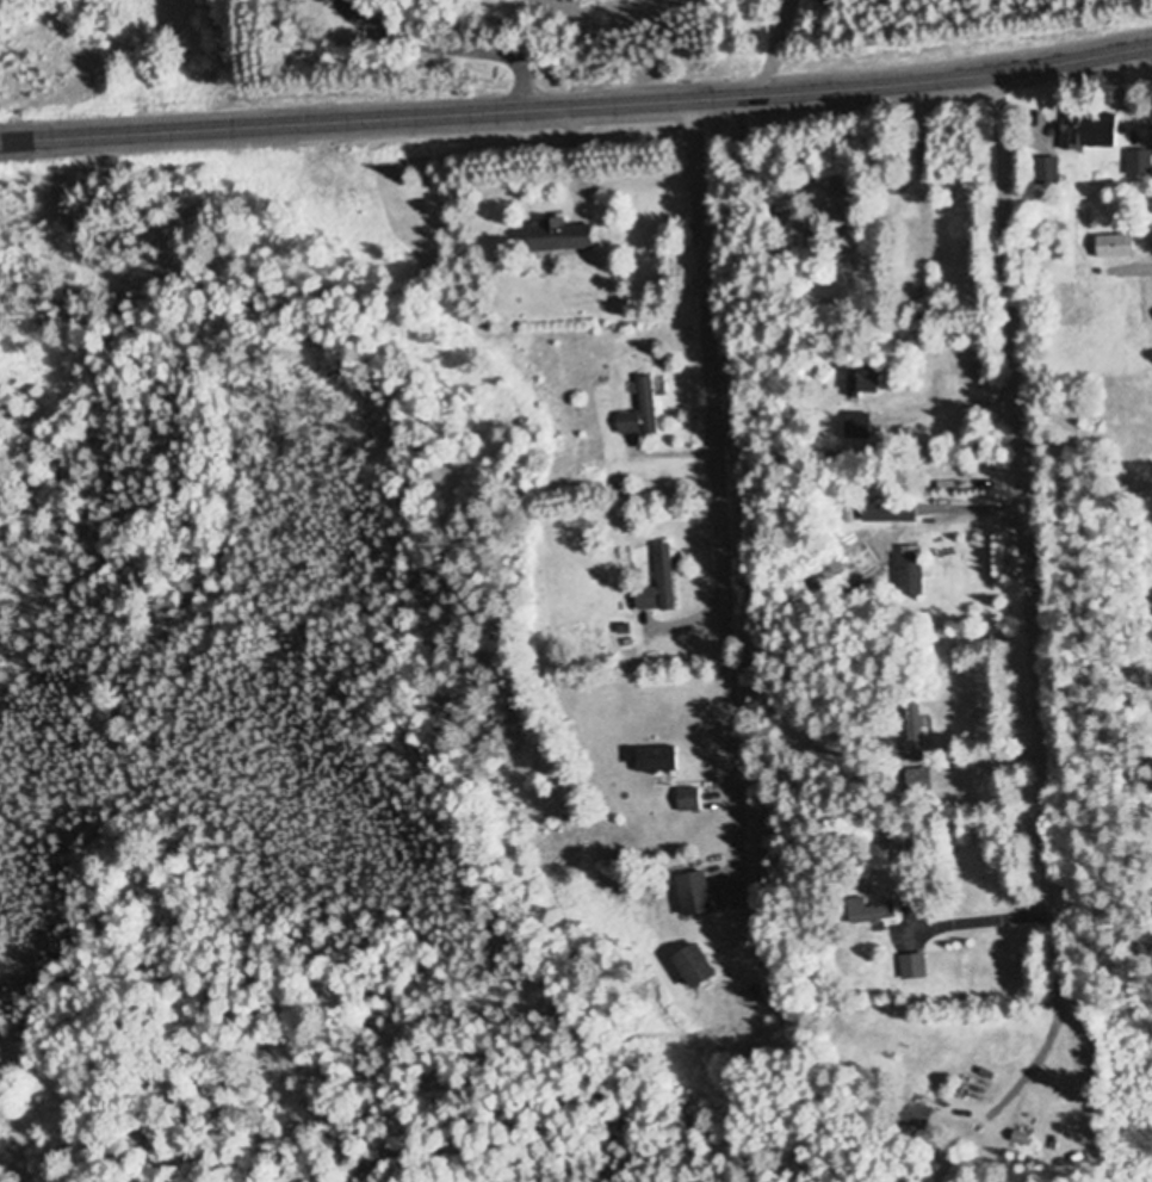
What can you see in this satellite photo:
road: (577, 107)
building: (1086, 134)
building: (557, 239)
building: (1113, 249)
building: (861, 382)
building: (639, 410)
building: (856, 427)
road: (714, 491)
building: (887, 508)
road: (1029, 539)
building: (909, 570)
building: (658, 586)
building: (911, 726)
building: (913, 751)
building: (655, 760)
building: (917, 781)
building: (688, 800)
building: (694, 895)
building: (857, 911)
building: (693, 967)
building: (911, 1114)

